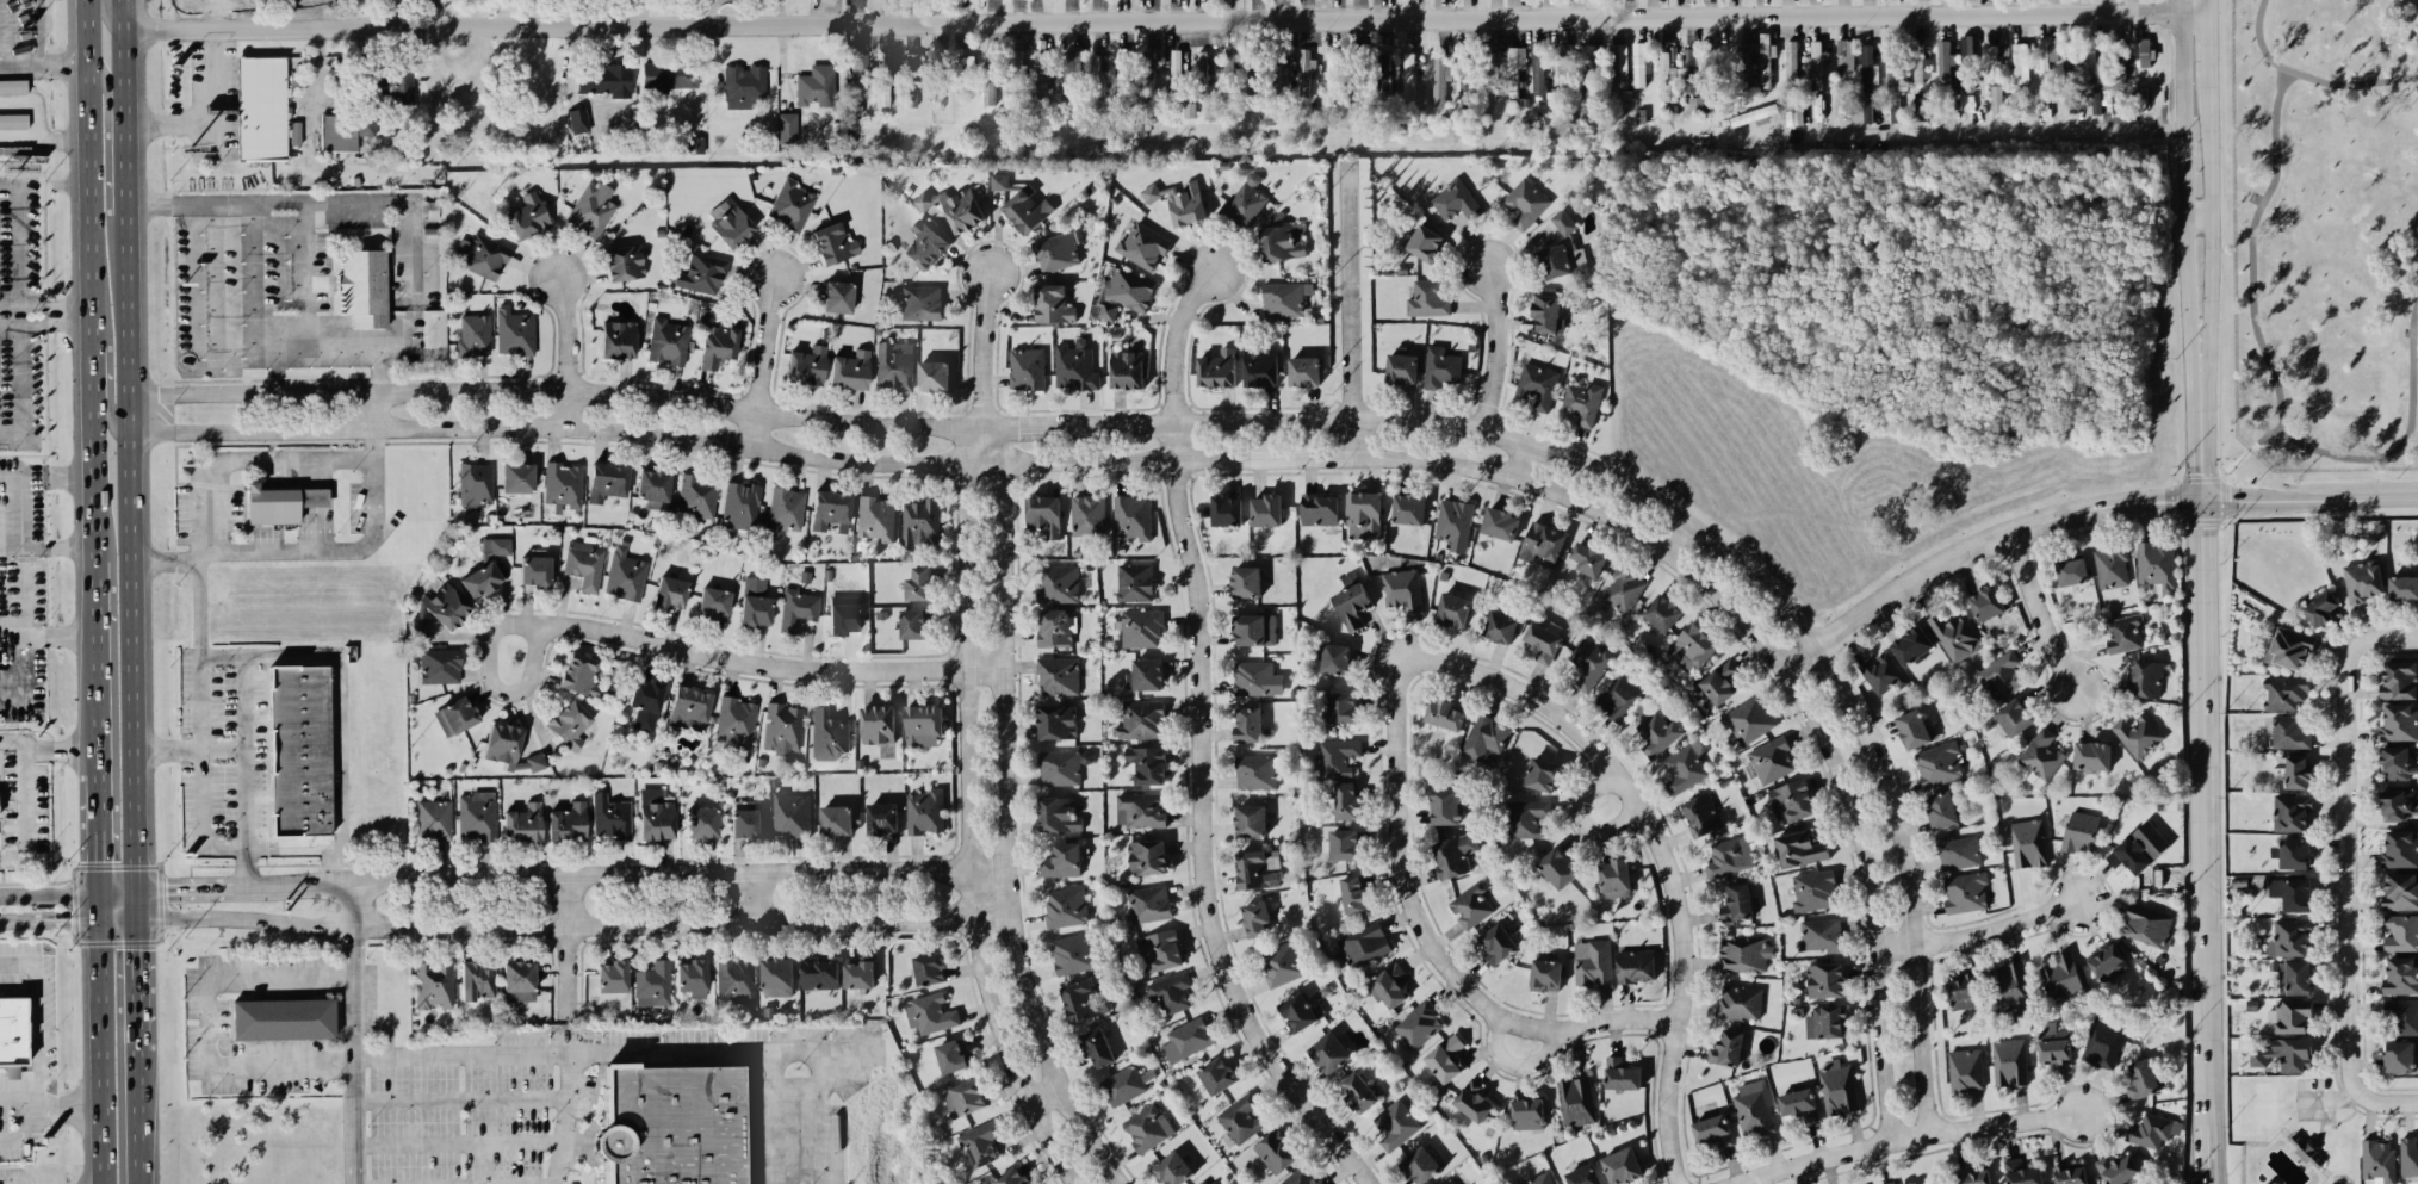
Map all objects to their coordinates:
building: (253, 1)
building: (200, 4)
road: (185, 13)
road: (218, 13)
road: (106, 19)
road: (1165, 19)
building: (2144, 52)
building: (1844, 58)
building: (2067, 58)
building: (2091, 58)
building: (1766, 60)
building: (2046, 60)
building: (1994, 61)
building: (1743, 63)
building: (2021, 63)
building: (2120, 63)
road: (44, 64)
building: (1638, 64)
building: (1791, 64)
building: (1816, 64)
building: (1967, 64)
building: (1693, 66)
building: (1945, 66)
building: (1538, 67)
building: (1564, 67)
building: (1515, 68)
building: (1718, 69)
building: (1146, 70)
building: (1607, 70)
building: (1868, 70)
building: (1921, 70)
building: (1017, 72)
building: (1044, 72)
building: (1123, 72)
building: (1306, 72)
building: (857, 73)
building: (1359, 73)
building: (963, 74)
building: (993, 74)
building: (1176, 74)
building: (1201, 74)
building: (1668, 74)
building: (668, 75)
building: (1073, 76)
building: (1282, 76)
building: (1381, 76)
building: (1408, 76)
building: (1098, 78)
building: (604, 79)
building: (883, 79)
building: (912, 79)
building: (392, 80)
building: (1439, 80)
building: (938, 81)
building: (1334, 82)
building: (816, 85)
building: (743, 86)
building: (1255, 86)
building: (1468, 86)
building: (13, 87)
building: (1997, 99)
building: (2072, 100)
building: (2113, 100)
building: (1693, 101)
building: (2096, 101)
building: (1920, 106)
building: (261, 107)
building: (1797, 110)
building: (1867, 110)
road: (206, 116)
building: (577, 119)
building: (13, 122)
building: (787, 126)
road: (110, 130)
building: (345, 131)
road: (1989, 132)
building: (693, 144)
road: (44, 148)
building: (999, 180)
road: (395, 199)
building: (1245, 200)
building: (1180, 202)
building: (1456, 202)
building: (1526, 203)
building: (790, 204)
road: (168, 205)
building: (954, 207)
building: (1027, 209)
building: (591, 210)
building: (528, 216)
road: (2197, 218)
building: (730, 222)
building: (1563, 222)
building: (833, 242)
building: (1283, 242)
building: (1426, 242)
building: (924, 244)
building: (1142, 246)
building: (1058, 250)
road: (2184, 252)
road: (2209, 252)
building: (480, 255)
building: (1561, 261)
building: (624, 262)
building: (702, 272)
road: (304, 273)
road: (252, 274)
road: (91, 279)
building: (365, 287)
building: (1123, 291)
building: (837, 296)
building: (1284, 298)
building: (1427, 299)
building: (920, 302)
building: (1053, 304)
road: (45, 308)
road: (1357, 311)
building: (1548, 314)
road: (770, 323)
building: (514, 331)
building: (473, 335)
building: (618, 339)
building: (668, 341)
building: (717, 345)
road: (1182, 346)
road: (225, 347)
road: (990, 348)
road: (568, 351)
road: (1503, 352)
building: (807, 365)
building: (894, 365)
building: (1075, 366)
building: (1260, 367)
building: (1401, 367)
building: (1440, 367)
building: (1027, 368)
building: (1217, 368)
building: (850, 370)
building: (1127, 370)
building: (1303, 371)
building: (934, 376)
building: (1537, 385)
road: (380, 386)
road: (105, 390)
building: (1582, 402)
road: (759, 407)
road: (1260, 422)
road: (128, 446)
road: (1235, 459)
road: (258, 460)
building: (517, 477)
building: (607, 481)
building: (562, 484)
building: (475, 485)
building: (655, 486)
building: (696, 496)
road: (2309, 500)
building: (279, 502)
building: (740, 504)
building: (786, 508)
building: (1408, 508)
building: (831, 509)
building: (1266, 509)
building: (1319, 509)
building: (1226, 510)
building: (1043, 514)
building: (1363, 514)
building: (1087, 515)
building: (1131, 516)
road: (1186, 516)
building: (875, 517)
building: (920, 523)
building: (1453, 523)
building: (1500, 523)
building: (1542, 543)
building: (496, 545)
road: (46, 548)
road: (1979, 548)
road: (328, 551)
building: (1588, 558)
building: (584, 563)
building: (2156, 565)
building: (2112, 566)
building: (535, 569)
road: (199, 571)
building: (2072, 571)
building: (625, 572)
building: (480, 579)
building: (1246, 581)
building: (2362, 581)
building: (1134, 582)
building: (754, 584)
building: (918, 584)
building: (1058, 584)
building: (2402, 588)
building: (1402, 589)
building: (1623, 589)
building: (670, 591)
building: (1351, 601)
building: (713, 602)
building: (1986, 602)
building: (796, 608)
building: (2319, 608)
building: (755, 609)
building: (1452, 609)
building: (439, 610)
building: (1662, 612)
road: (2045, 612)
building: (843, 618)
building: (913, 624)
building: (1501, 627)
building: (1056, 628)
building: (1141, 628)
building: (1254, 630)
building: (2122, 633)
building: (1955, 636)
road: (48, 637)
building: (1543, 641)
building: (1912, 645)
building: (1692, 647)
building: (2289, 649)
building: (1335, 659)
building: (1589, 661)
building: (440, 665)
road: (769, 665)
road: (95, 667)
building: (1883, 672)
building: (579, 674)
building: (1146, 675)
building: (1059, 676)
building: (2001, 676)
building: (1257, 678)
building: (2146, 678)
building: (2399, 680)
building: (1720, 682)
road: (495, 683)
building: (2284, 692)
building: (1623, 696)
road: (1400, 699)
building: (645, 702)
building: (689, 707)
building: (1343, 707)
building: (455, 714)
building: (1444, 714)
building: (2014, 717)
building: (1141, 720)
building: (1748, 720)
building: (734, 721)
building: (1056, 721)
building: (570, 723)
building: (2399, 723)
road: (340, 724)
building: (878, 724)
building: (1248, 724)
building: (923, 725)
road: (1585, 726)
building: (782, 727)
building: (1915, 729)
building: (2289, 732)
building: (1657, 733)
building: (829, 734)
building: (2138, 734)
building: (1486, 736)
road: (15, 738)
road: (62, 746)
building: (509, 748)
building: (294, 750)
building: (886, 750)
building: (2092, 755)
building: (1337, 756)
building: (2040, 757)
building: (1771, 760)
building: (1939, 763)
building: (2394, 763)
building: (1147, 764)
building: (1062, 767)
building: (1685, 768)
building: (1255, 771)
building: (2295, 771)
building: (1542, 774)
building: (1791, 800)
building: (1347, 801)
building: (2398, 804)
building: (1445, 806)
building: (1141, 810)
building: (1941, 810)
building: (924, 811)
road: (973, 812)
road: (1592, 812)
building: (2292, 812)
building: (656, 814)
building: (790, 814)
building: (1059, 814)
building: (1701, 814)
road: (27, 816)
building: (476, 816)
building: (610, 816)
road: (1007, 816)
building: (434, 818)
building: (746, 818)
building: (881, 818)
building: (1525, 818)
building: (836, 820)
building: (1251, 820)
building: (568, 822)
building: (701, 822)
building: (522, 823)
road: (98, 831)
building: (2081, 831)
road: (2345, 838)
road: (2206, 842)
building: (2028, 843)
building: (1344, 844)
building: (2139, 848)
building: (1800, 849)
building: (2400, 849)
building: (1958, 851)
building: (2293, 853)
building: (1453, 855)
building: (1147, 856)
building: (1730, 856)
traffic signals: (99, 858)
building: (1062, 860)
road: (345, 866)
building: (1558, 867)
building: (1258, 868)
road: (243, 869)
road: (626, 878)
building: (1614, 879)
road: (188, 891)
building: (1813, 891)
road: (49, 892)
road: (117, 892)
traffic signals: (167, 892)
building: (1965, 892)
building: (2400, 892)
building: (1354, 893)
building: (2292, 893)
road: (754, 899)
building: (1737, 903)
building: (1148, 904)
road: (99, 905)
road: (135, 905)
road: (351, 905)
building: (1470, 905)
building: (1066, 906)
road: (117, 918)
building: (1255, 918)
road: (60, 919)
traffic signals: (72, 919)
road: (1215, 919)
road: (10, 920)
building: (2146, 924)
road: (572, 925)
road: (1983, 932)
building: (2400, 932)
building: (1821, 935)
building: (2289, 937)
building: (1498, 943)
building: (1364, 944)
road: (565, 946)
traffic signals: (135, 948)
building: (1159, 950)
building: (1074, 953)
building: (1743, 954)
road: (18, 962)
building: (1593, 962)
building: (1282, 963)
building: (2108, 963)
building: (1636, 965)
building: (930, 968)
road: (1451, 973)
building: (819, 974)
building: (612, 975)
building: (858, 975)
building: (1545, 975)
building: (2401, 975)
building: (693, 977)
building: (777, 977)
building: (2060, 977)
building: (2294, 977)
building: (476, 980)
building: (519, 980)
building: (734, 980)
building: (1825, 980)
road: (135, 984)
building: (653, 984)
building: (433, 985)
building: (1388, 986)
building: (2009, 988)
building: (1170, 992)
building: (1963, 992)
building: (1083, 1000)
building: (1740, 1002)
building: (1301, 1012)
building: (930, 1013)
building: (2289, 1016)
building: (2401, 1016)
building: (283, 1017)
road: (209, 1022)
building: (1825, 1022)
building: (1419, 1025)
building: (12, 1031)
road: (38, 1033)
building: (1188, 1039)
road: (1681, 1042)
building: (2103, 1042)
building: (2053, 1043)
building: (1097, 1047)
building: (1726, 1048)
road: (100, 1050)
road: (564, 1050)
building: (1329, 1053)
building: (2286, 1054)
road: (356, 1055)
building: (953, 1055)
building: (2399, 1056)
building: (1446, 1058)
building: (2009, 1061)
building: (1965, 1070)
building: (1622, 1074)
building: (1217, 1075)
building: (2144, 1079)
building: (1123, 1085)
building: (1837, 1087)
road: (820, 1092)
building: (1358, 1092)
building: (965, 1097)
road: (463, 1098)
building: (1472, 1101)
building: (1576, 1101)
road: (2387, 1102)
road: (63, 1104)
building: (1797, 1104)
building: (1754, 1109)
building: (1526, 1112)
road: (136, 1116)
road: (774, 1116)
road: (25, 1117)
road: (565, 1117)
building: (1240, 1118)
road: (2020, 1118)
building: (672, 1124)
building: (1395, 1124)
building: (1147, 1127)
building: (2152, 1130)
building: (1713, 1132)
road: (460, 1142)
building: (980, 1142)
road: (1840, 1149)
building: (2305, 1151)
building: (1276, 1152)
building: (2408, 1158)
building: (2379, 1160)
building: (1420, 1165)
building: (1622, 1165)
building: (1173, 1168)
building: (2119, 1168)
building: (2022, 1172)
building: (1583, 1174)
building: (2070, 1174)
building: (1011, 1177)
building: (1301, 1177)
building: (1974, 1177)
building: (1538, 1179)
building: (1205, 1180)
building: (1447, 1182)
building: (1889, 1183)

